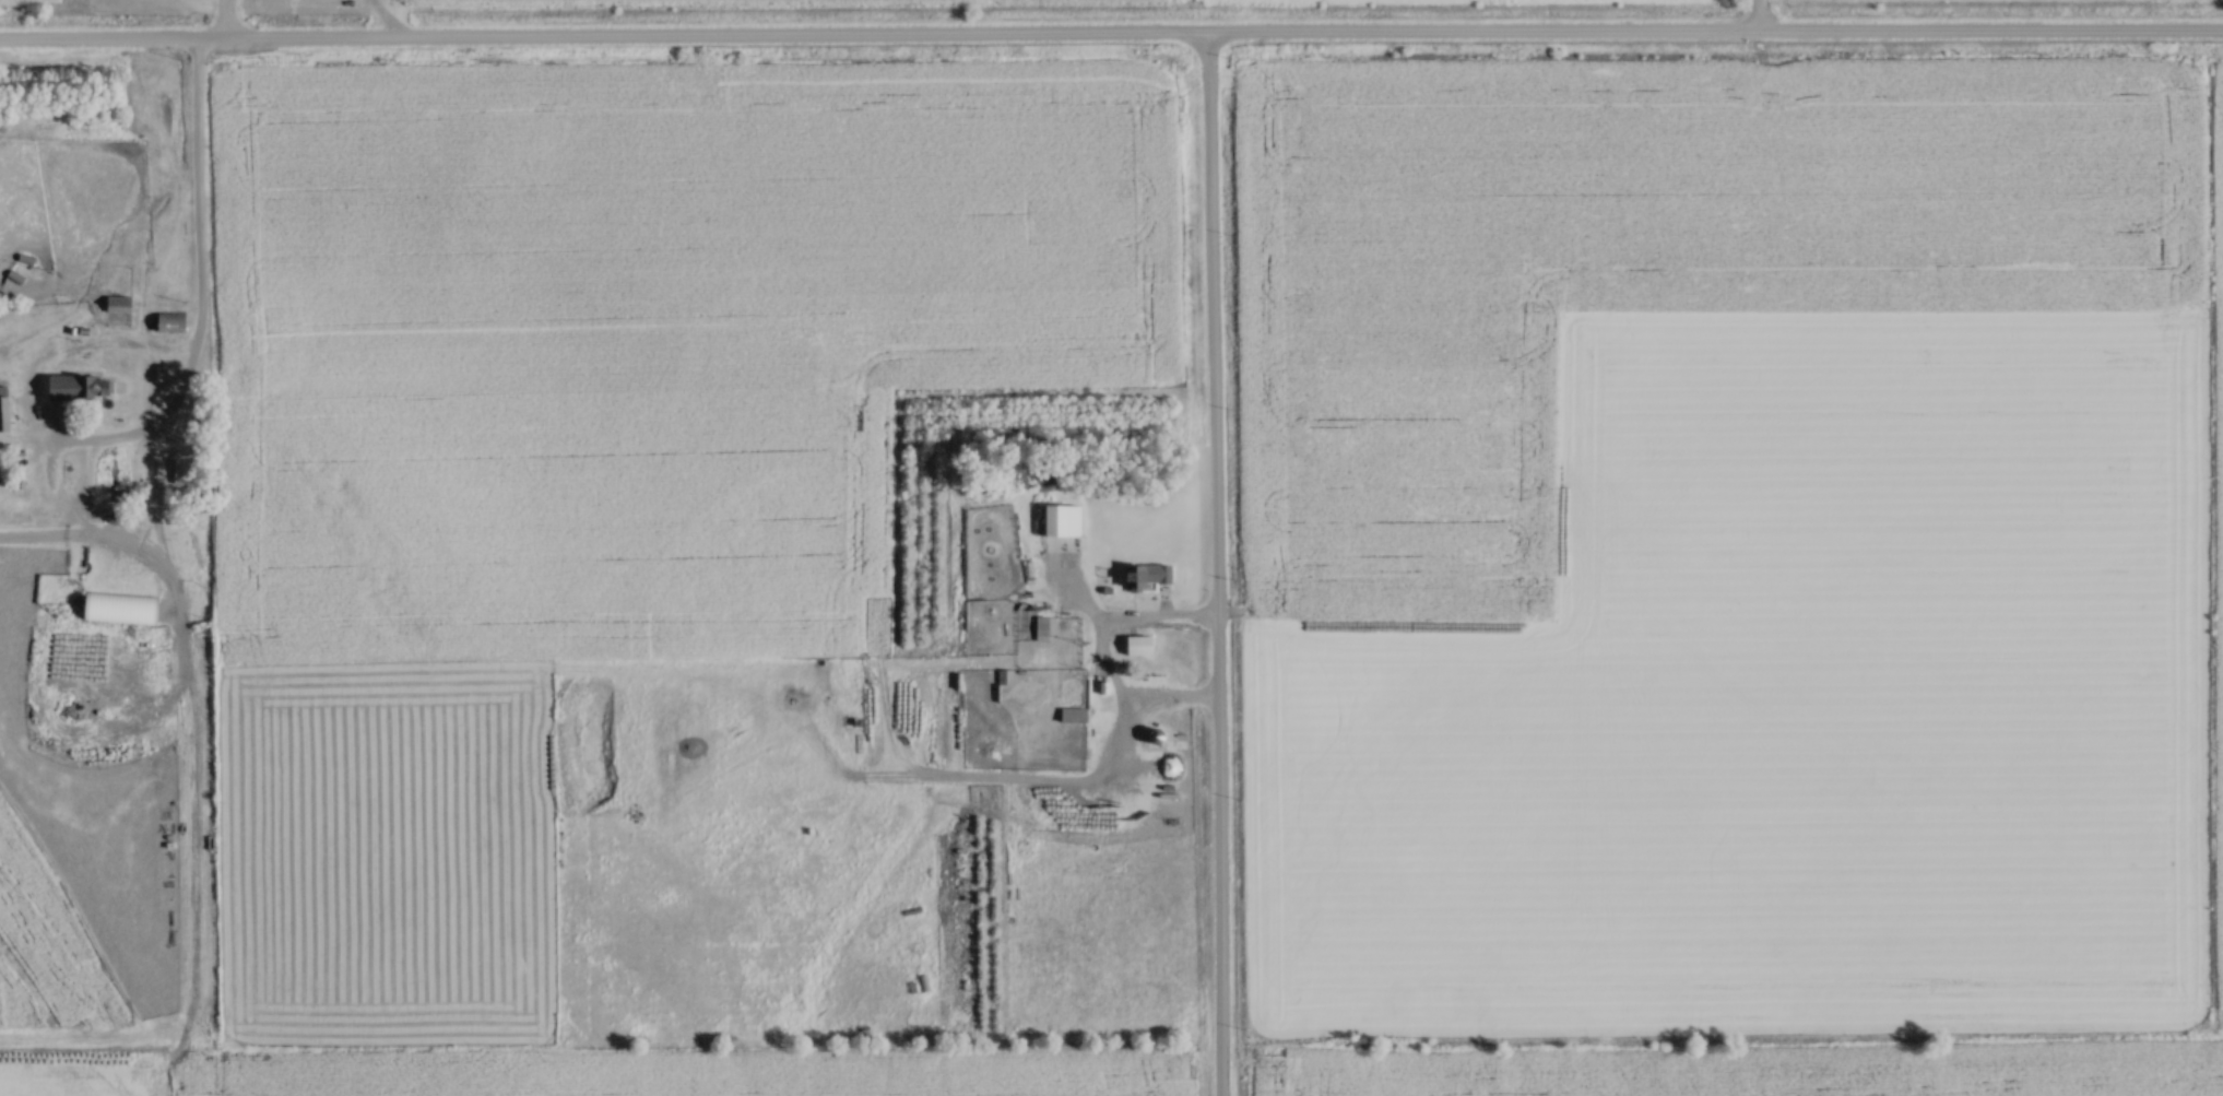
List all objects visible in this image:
road: (1758, 17)
road: (225, 22)
road: (1111, 38)
road: (201, 295)
building: (115, 303)
building: (168, 320)
building: (79, 386)
road: (1215, 565)
building: (1143, 573)
building: (1040, 626)
building: (1135, 643)
building: (1004, 675)
building: (1072, 712)
building: (1154, 733)

